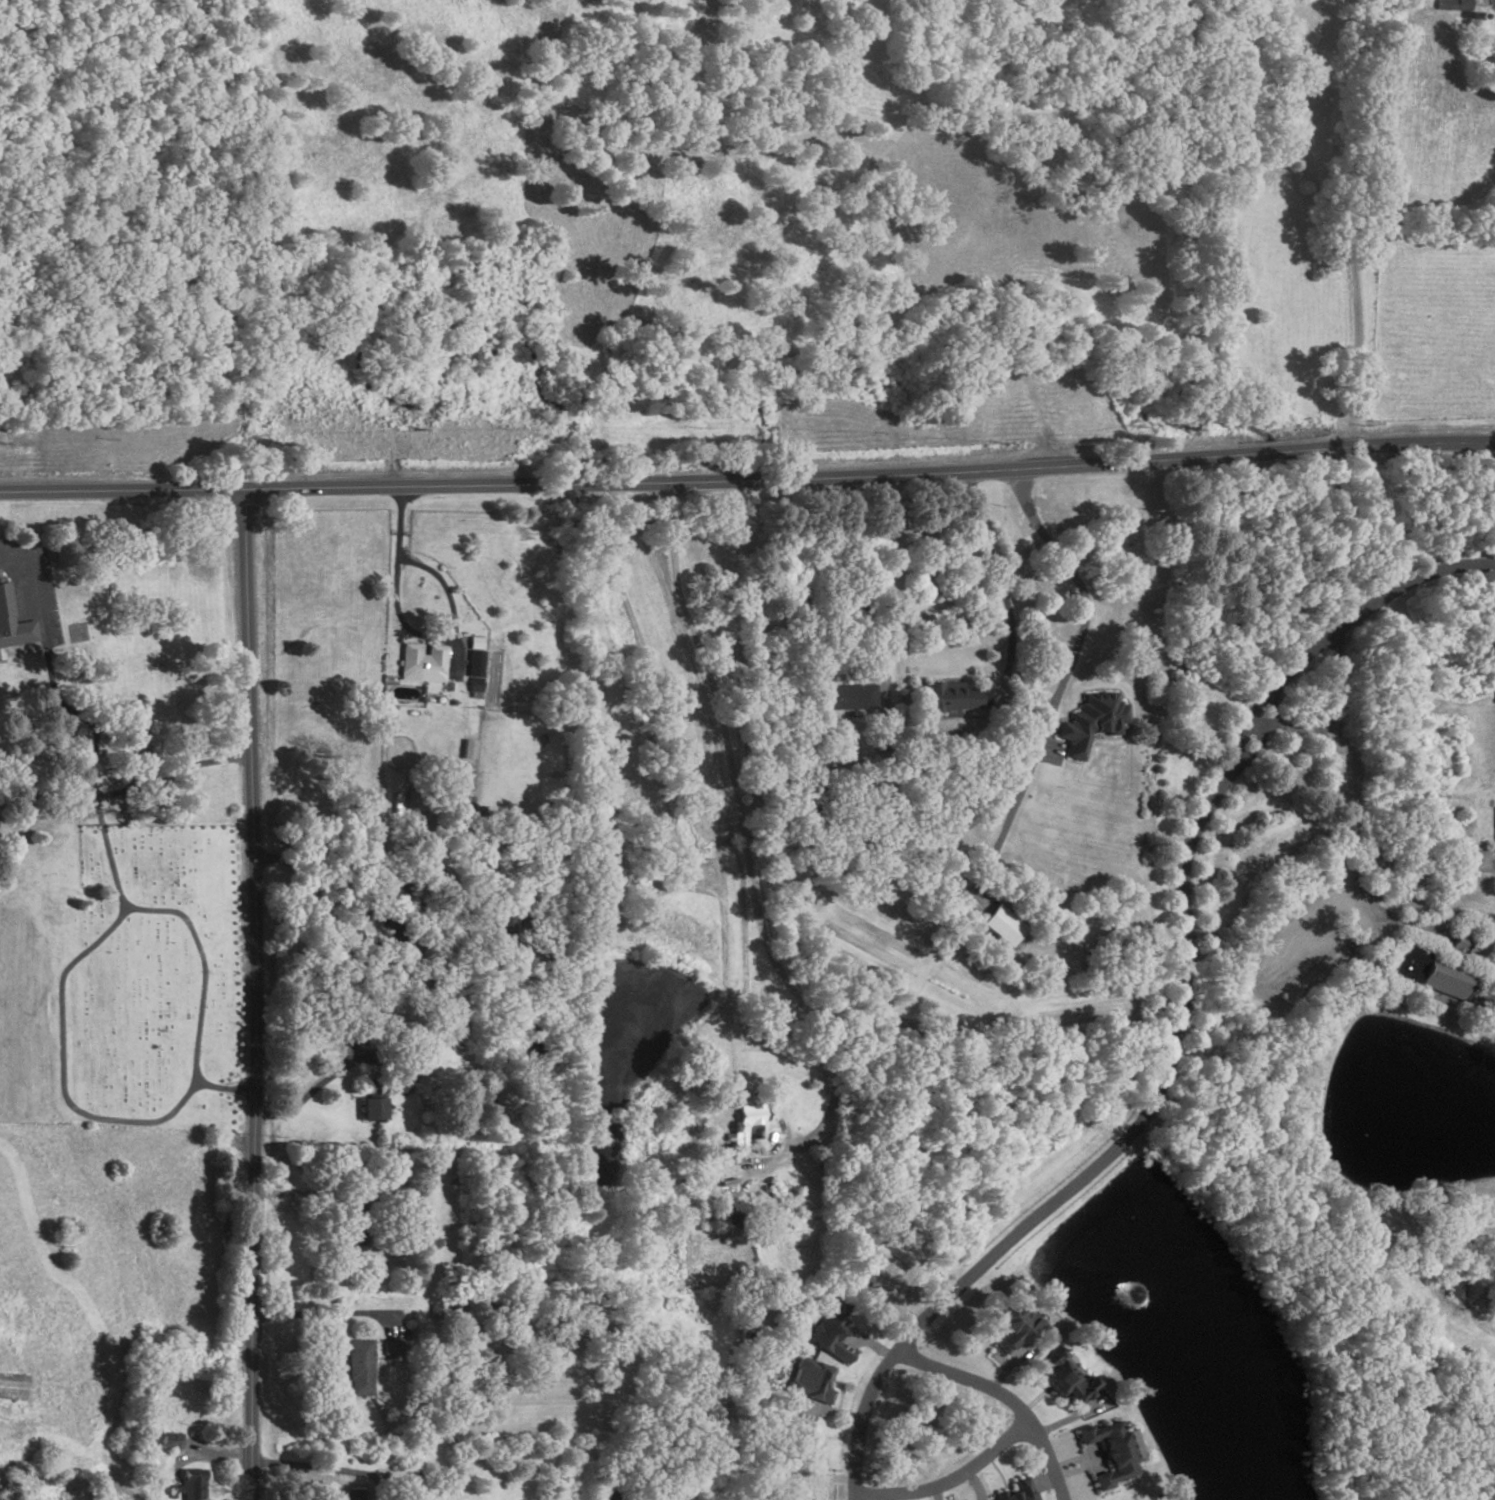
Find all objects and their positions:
building: (1453, 6)
road: (1350, 222)
road: (748, 479)
road: (1387, 514)
road: (1002, 588)
building: (5, 601)
road: (449, 613)
road: (879, 647)
building: (472, 658)
road: (55, 665)
building: (422, 665)
building: (22, 668)
road: (1061, 682)
building: (844, 697)
building: (946, 699)
building: (1091, 721)
building: (135, 728)
road: (1294, 729)
building: (468, 748)
building: (808, 804)
building: (416, 809)
road: (1340, 812)
road: (745, 851)
road: (298, 863)
road: (131, 907)
road: (1323, 914)
building: (999, 926)
building: (506, 927)
road: (1490, 930)
parking lot: (1304, 939)
road: (1453, 941)
building: (1455, 944)
road: (1486, 954)
building: (1405, 964)
road: (1481, 975)
building: (1443, 977)
road: (257, 993)
road: (1178, 1011)
road: (61, 1070)
road: (316, 1085)
building: (396, 1085)
building: (369, 1110)
building: (747, 1122)
road: (307, 1195)
building: (1455, 1285)
road: (1483, 1296)
road: (328, 1315)
building: (1011, 1326)
building: (828, 1338)
road: (870, 1346)
building: (392, 1349)
road: (1000, 1362)
building: (357, 1369)
road: (1006, 1369)
building: (1061, 1378)
building: (809, 1382)
road: (1005, 1397)
road: (834, 1413)
road: (1066, 1419)
building: (170, 1442)
building: (1111, 1452)
road: (207, 1455)
road: (1073, 1466)
road: (323, 1469)
road: (948, 1480)
building: (191, 1485)
road: (972, 1485)
building: (1015, 1491)
road: (935, 1493)
building: (348, 1496)
building: (1149, 1499)

